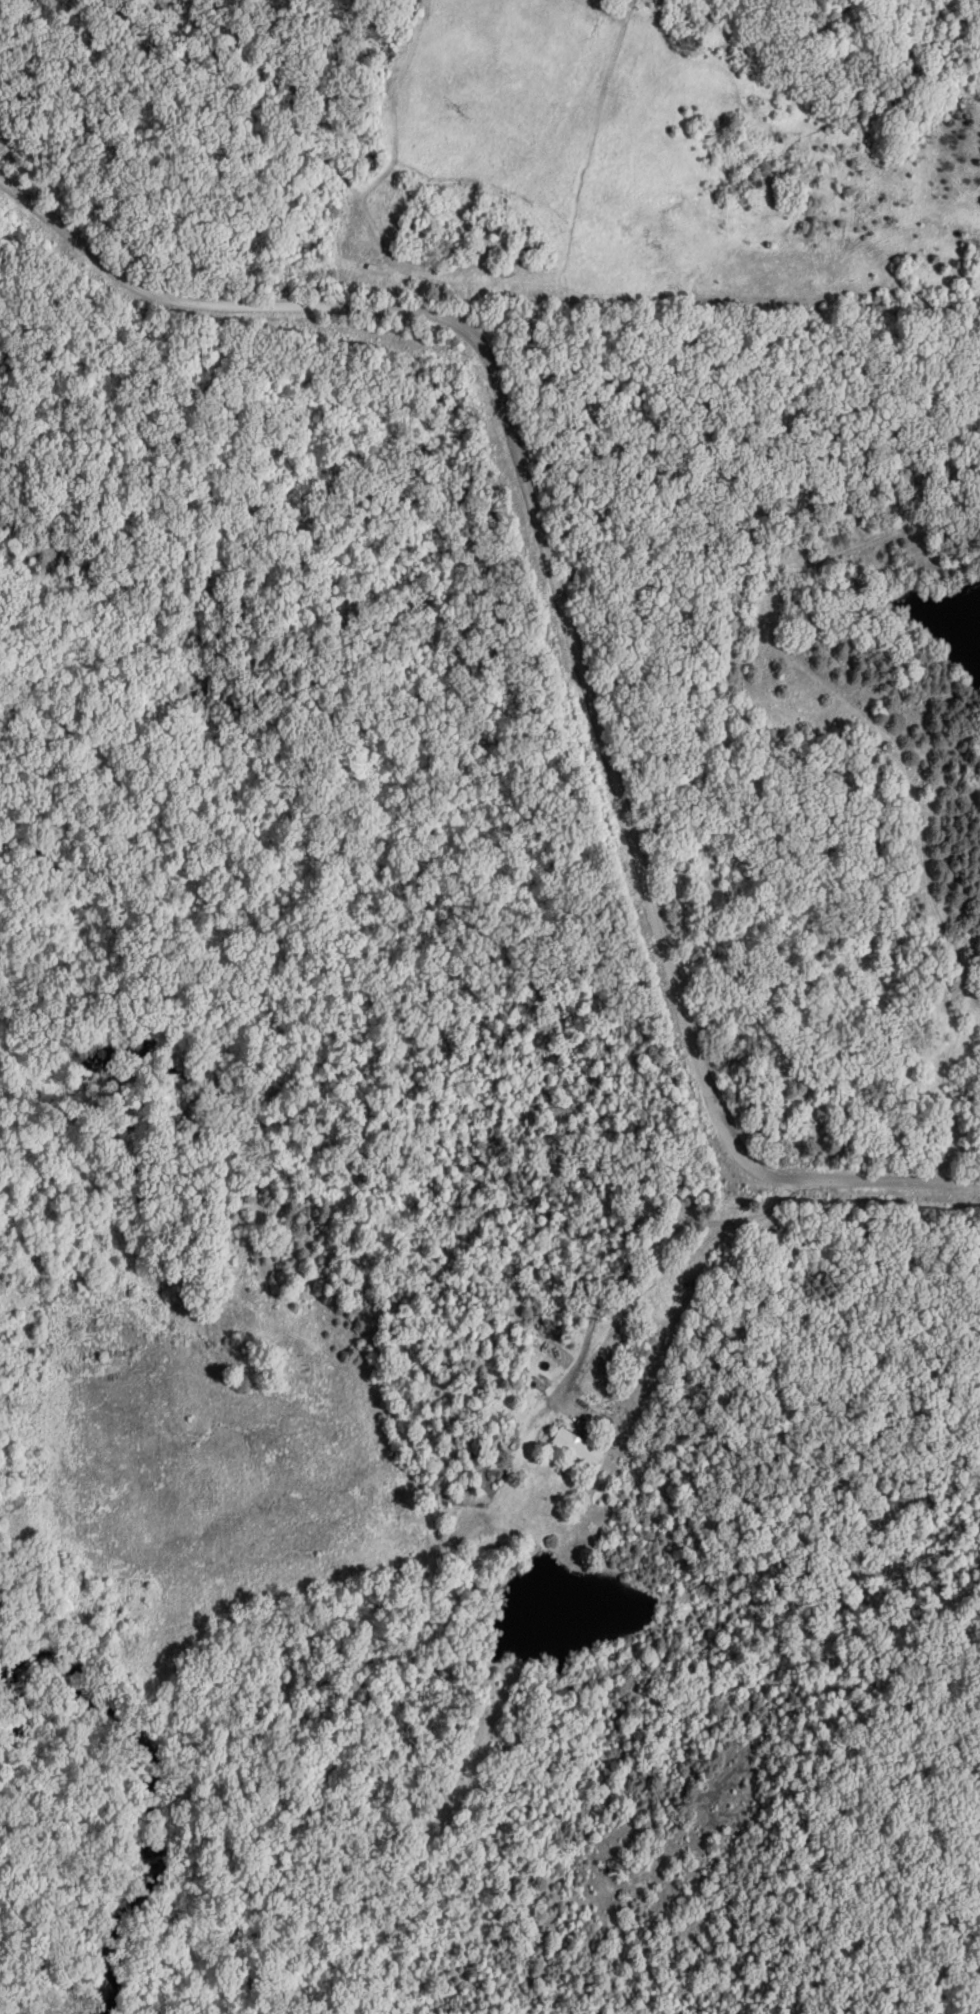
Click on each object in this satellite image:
road: (207, 304)
road: (611, 759)
road: (884, 1186)
road: (658, 1274)
building: (577, 1446)

